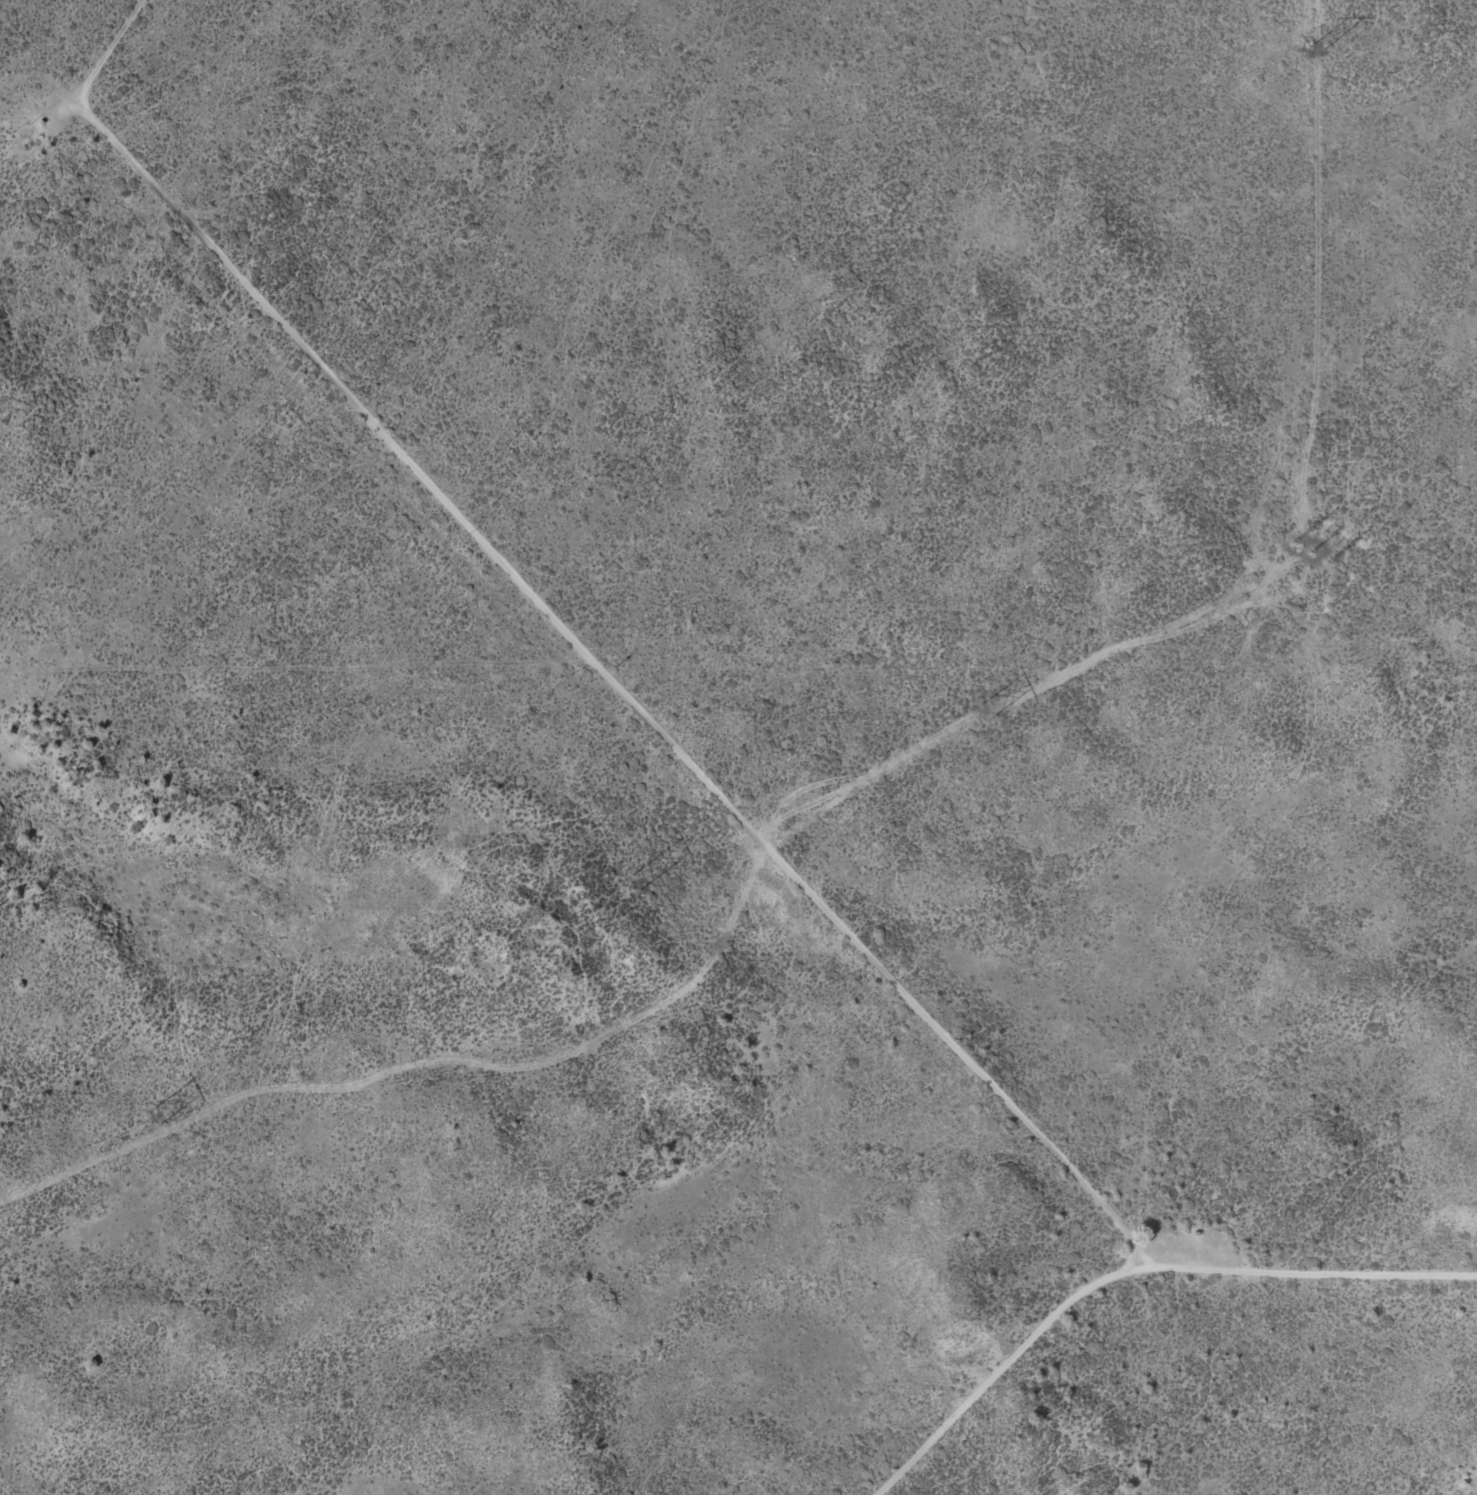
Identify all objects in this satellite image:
power tower: (1314, 48)
power tower: (1312, 550)
power tower: (986, 709)
power tower: (637, 881)
power tower: (154, 1115)

